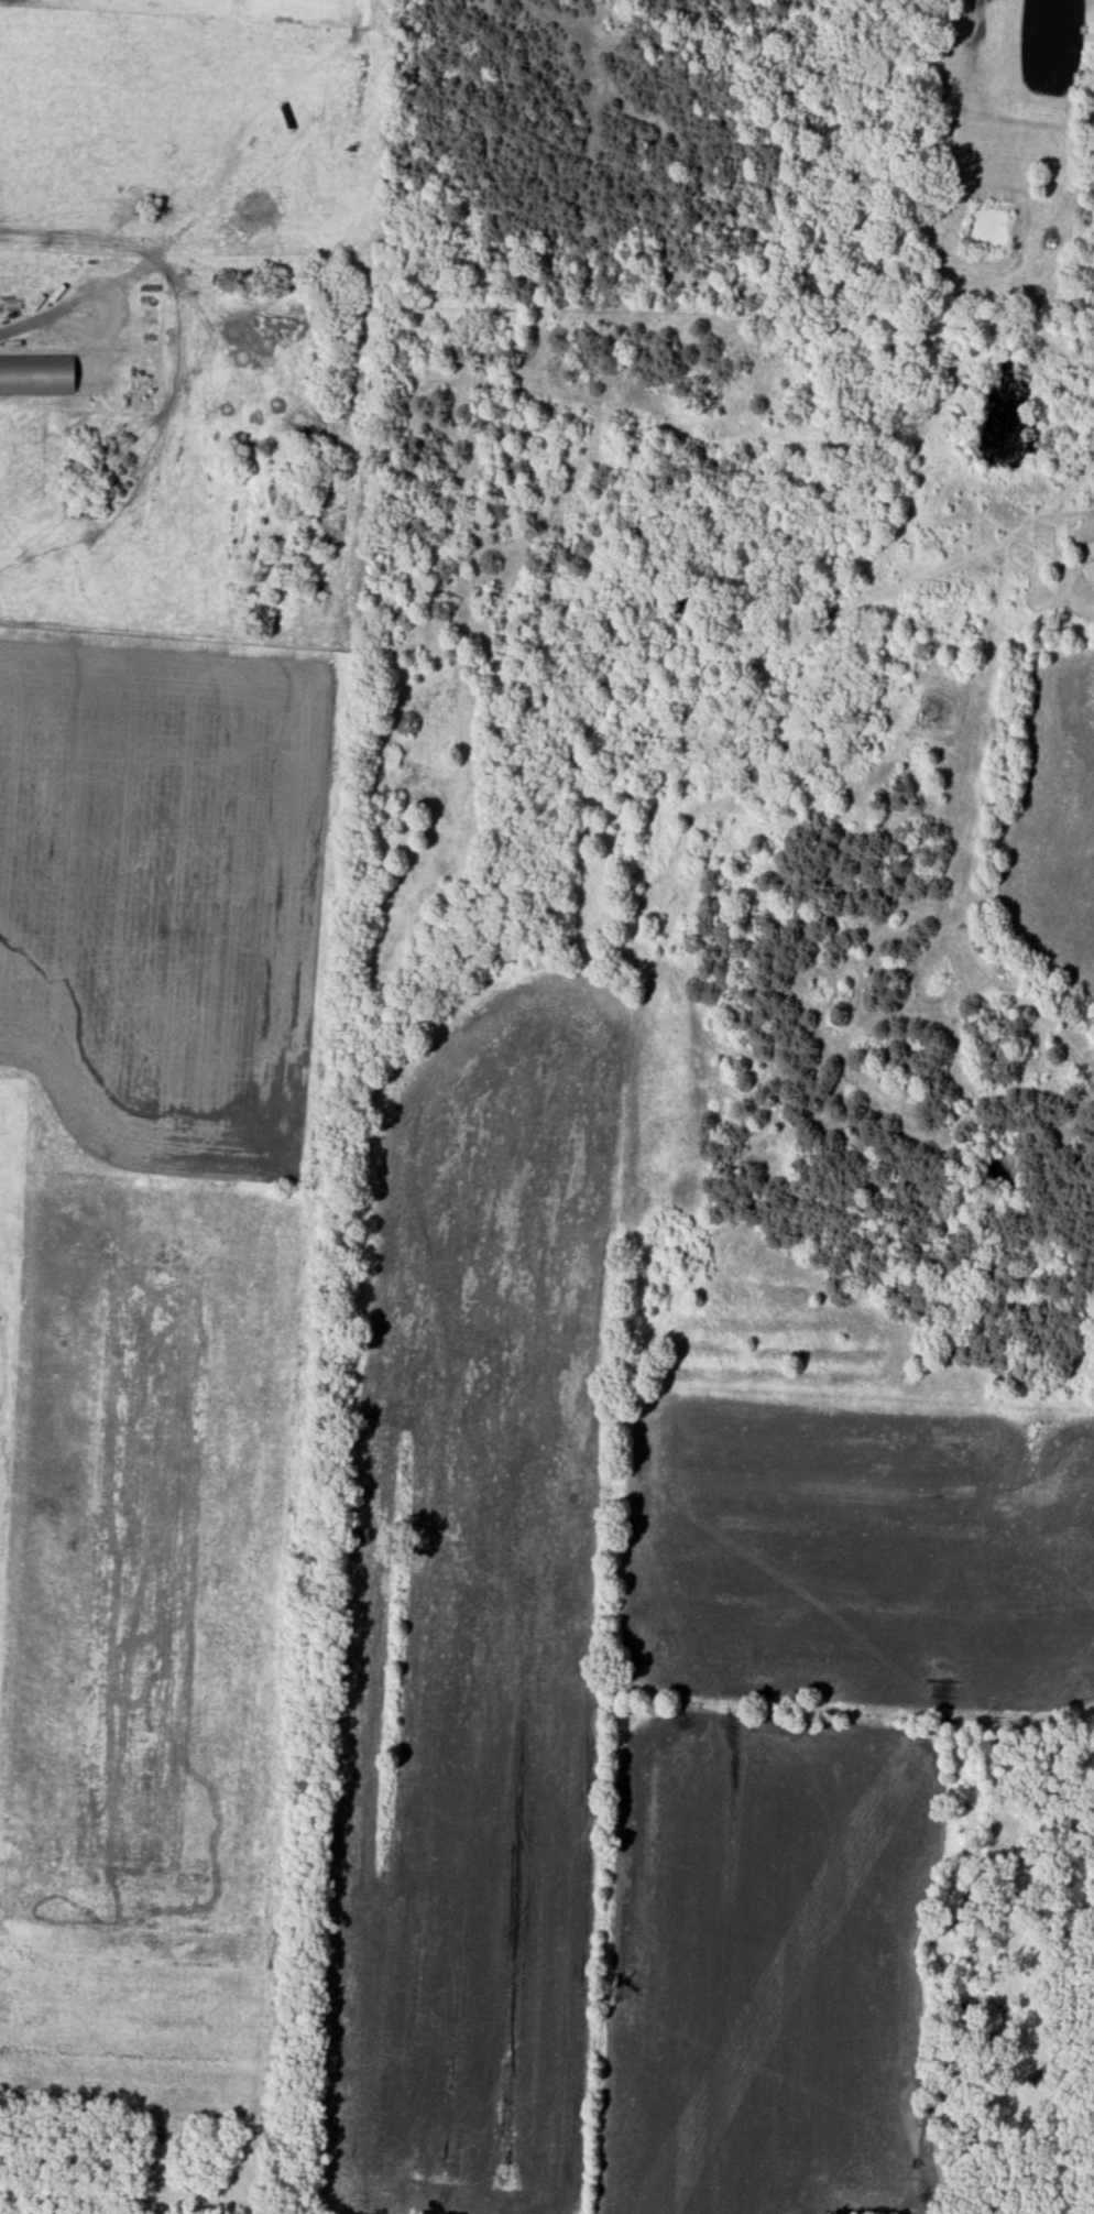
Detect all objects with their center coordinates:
building: (36, 375)

